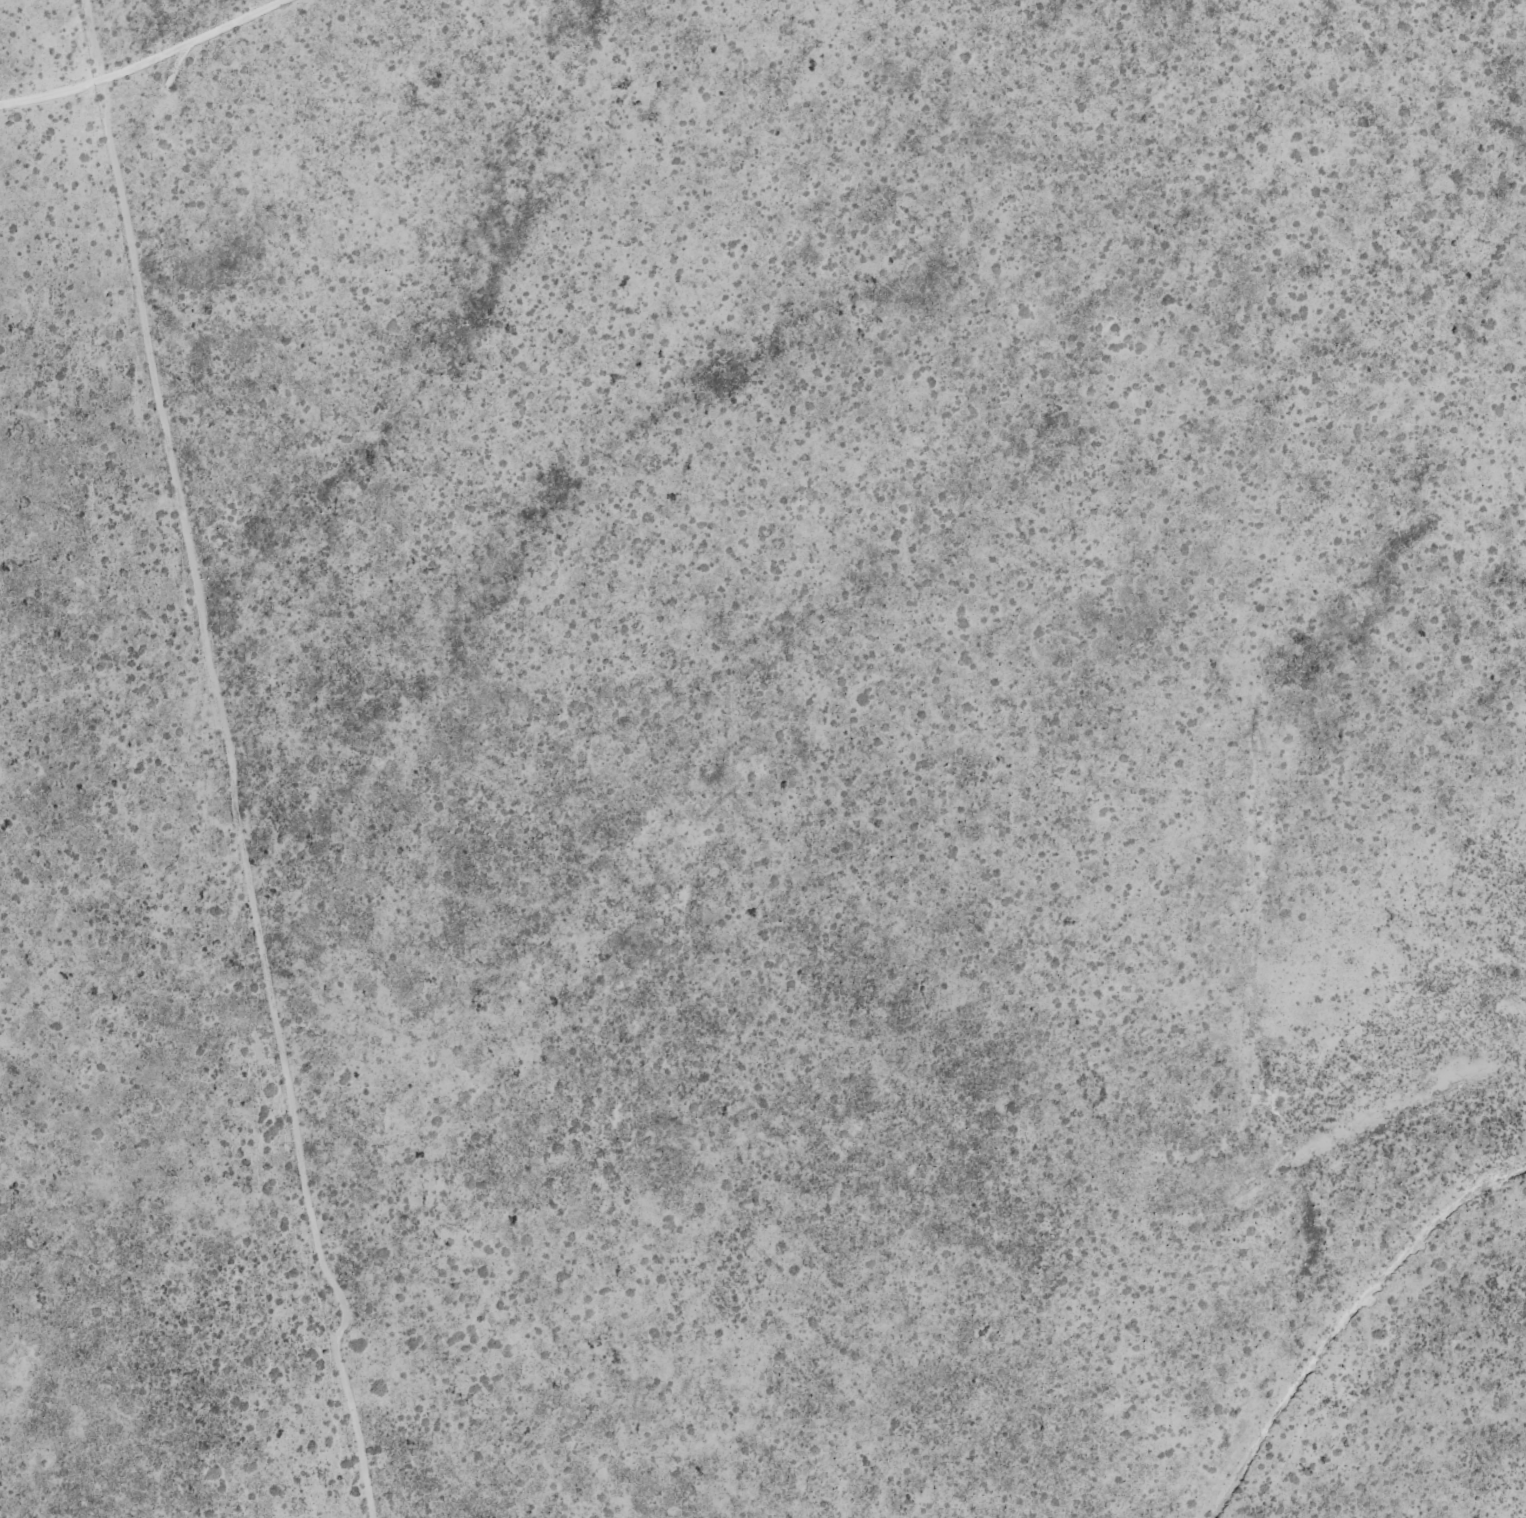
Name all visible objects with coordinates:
road: (147, 61)

